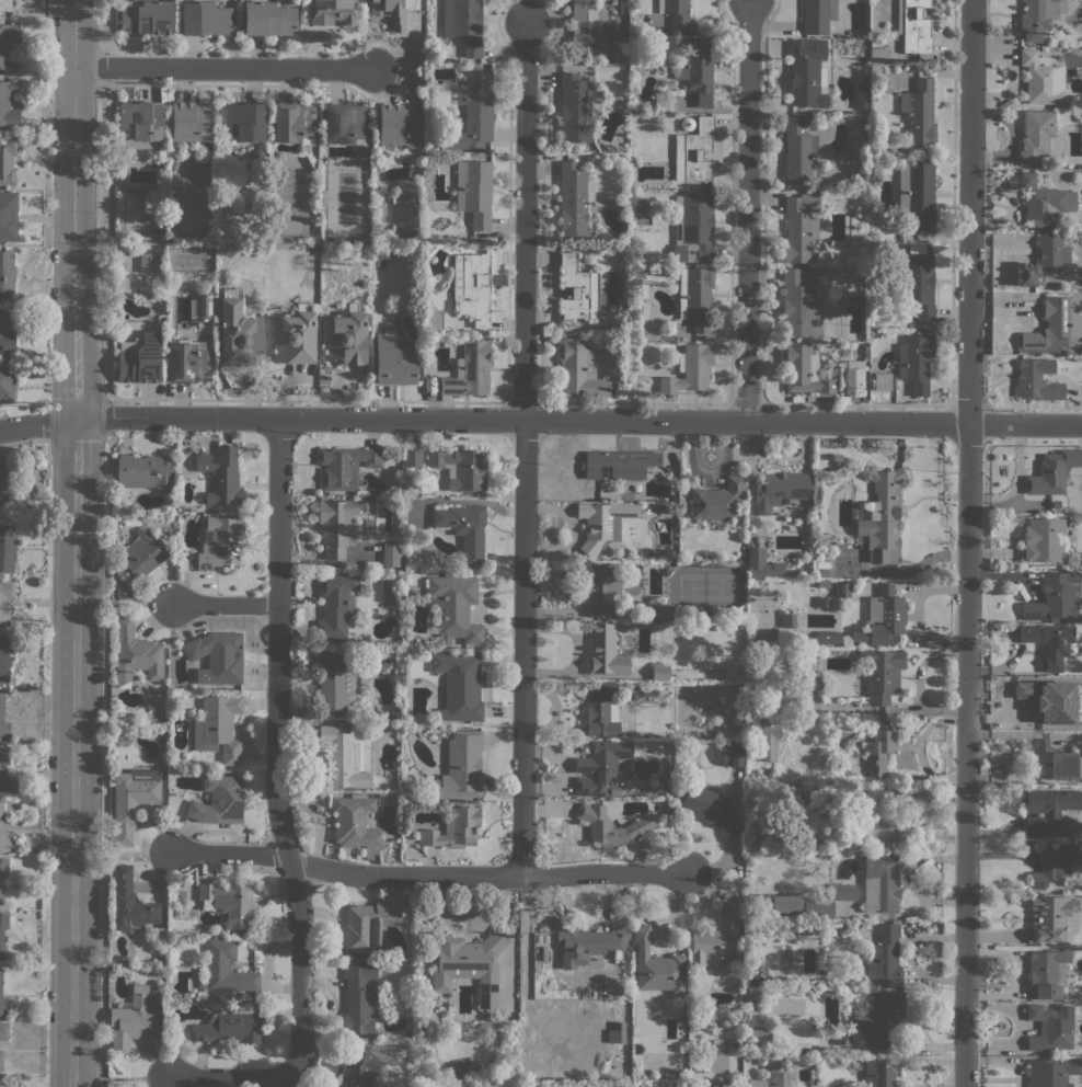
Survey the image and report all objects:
building: (5, 4)
building: (332, 12)
building: (390, 12)
building: (676, 12)
building: (818, 15)
building: (146, 18)
building: (1037, 18)
building: (206, 19)
building: (268, 19)
building: (464, 24)
road: (103, 25)
building: (914, 27)
building: (588, 31)
building: (9, 46)
building: (1044, 48)
building: (879, 55)
road: (100, 67)
road: (226, 69)
building: (697, 70)
building: (806, 72)
building: (1041, 78)
road: (46, 93)
building: (861, 93)
building: (8, 103)
building: (575, 108)
building: (919, 112)
building: (473, 113)
building: (243, 122)
building: (293, 123)
building: (140, 124)
building: (191, 124)
building: (346, 124)
building: (400, 124)
building: (687, 124)
building: (1036, 135)
building: (694, 151)
building: (798, 152)
building: (8, 161)
building: (474, 192)
building: (918, 192)
building: (574, 198)
building: (1044, 202)
road: (748, 210)
road: (970, 211)
building: (8, 216)
building: (693, 228)
building: (802, 229)
building: (901, 238)
road: (100, 242)
building: (147, 262)
building: (1041, 262)
building: (7, 274)
building: (916, 282)
building: (472, 287)
building: (578, 289)
building: (695, 296)
building: (203, 305)
building: (799, 306)
building: (434, 320)
building: (1050, 323)
building: (239, 332)
building: (5, 334)
building: (293, 335)
building: (345, 336)
building: (394, 357)
building: (140, 359)
building: (189, 362)
building: (916, 362)
building: (470, 369)
building: (690, 369)
building: (580, 370)
building: (804, 370)
building: (855, 377)
building: (1037, 380)
building: (7, 381)
building: (883, 381)
road: (48, 407)
road: (522, 420)
road: (37, 424)
road: (1025, 424)
road: (523, 448)
building: (836, 457)
building: (412, 458)
building: (622, 462)
building: (345, 466)
building: (460, 468)
building: (145, 471)
building: (1052, 472)
building: (221, 476)
building: (7, 483)
building: (780, 490)
building: (717, 500)
building: (1055, 504)
building: (882, 516)
building: (602, 524)
building: (336, 525)
building: (464, 529)
building: (1041, 539)
road: (76, 542)
building: (221, 542)
building: (7, 546)
building: (670, 552)
building: (391, 553)
building: (137, 562)
building: (760, 564)
building: (600, 586)
building: (421, 590)
building: (842, 590)
building: (1054, 597)
building: (5, 599)
road: (139, 604)
building: (335, 604)
road: (226, 605)
building: (456, 608)
building: (656, 610)
building: (882, 616)
building: (789, 620)
building: (828, 638)
building: (845, 639)
road: (278, 643)
building: (1050, 643)
building: (605, 651)
building: (134, 654)
building: (217, 654)
building: (5, 655)
building: (660, 672)
building: (882, 674)
building: (750, 680)
building: (808, 680)
building: (334, 682)
road: (485, 684)
building: (459, 685)
building: (1052, 699)
building: (601, 707)
building: (769, 720)
building: (752, 721)
building: (3, 726)
building: (218, 726)
building: (768, 741)
building: (880, 745)
building: (732, 753)
building: (4, 755)
road: (966, 755)
building: (343, 759)
road: (105, 762)
building: (1052, 762)
road: (483, 764)
building: (460, 766)
building: (601, 766)
building: (8, 783)
building: (798, 788)
building: (807, 788)
building: (824, 788)
building: (614, 790)
building: (815, 799)
building: (133, 800)
building: (218, 800)
building: (706, 805)
building: (1047, 809)
building: (884, 819)
building: (355, 824)
building: (643, 824)
building: (453, 828)
building: (833, 831)
building: (3, 832)
building: (842, 844)
road: (138, 854)
road: (230, 855)
building: (1056, 865)
building: (3, 866)
road: (491, 877)
building: (880, 882)
building: (1080, 888)
building: (843, 892)
building: (1, 894)
building: (130, 903)
building: (229, 904)
building: (785, 904)
building: (818, 907)
building: (1049, 918)
building: (367, 925)
building: (809, 929)
building: (2, 931)
building: (715, 940)
building: (587, 943)
building: (744, 953)
building: (738, 954)
building: (884, 957)
building: (469, 964)
building: (657, 965)
building: (225, 969)
building: (1047, 973)
building: (749, 974)
building: (359, 997)
building: (2, 999)
building: (134, 1018)
building: (717, 1018)
building: (876, 1023)
building: (231, 1027)
building: (1050, 1027)
building: (3, 1031)
road: (300, 1032)
building: (618, 1032)
building: (760, 1037)
building: (634, 1039)
building: (717, 1054)
building: (1, 1060)
building: (361, 1066)
building: (882, 1071)
building: (1051, 1073)
road: (135, 1078)
building: (773, 1079)
building: (786, 1079)
building: (0, 1082)
building: (675, 1085)

